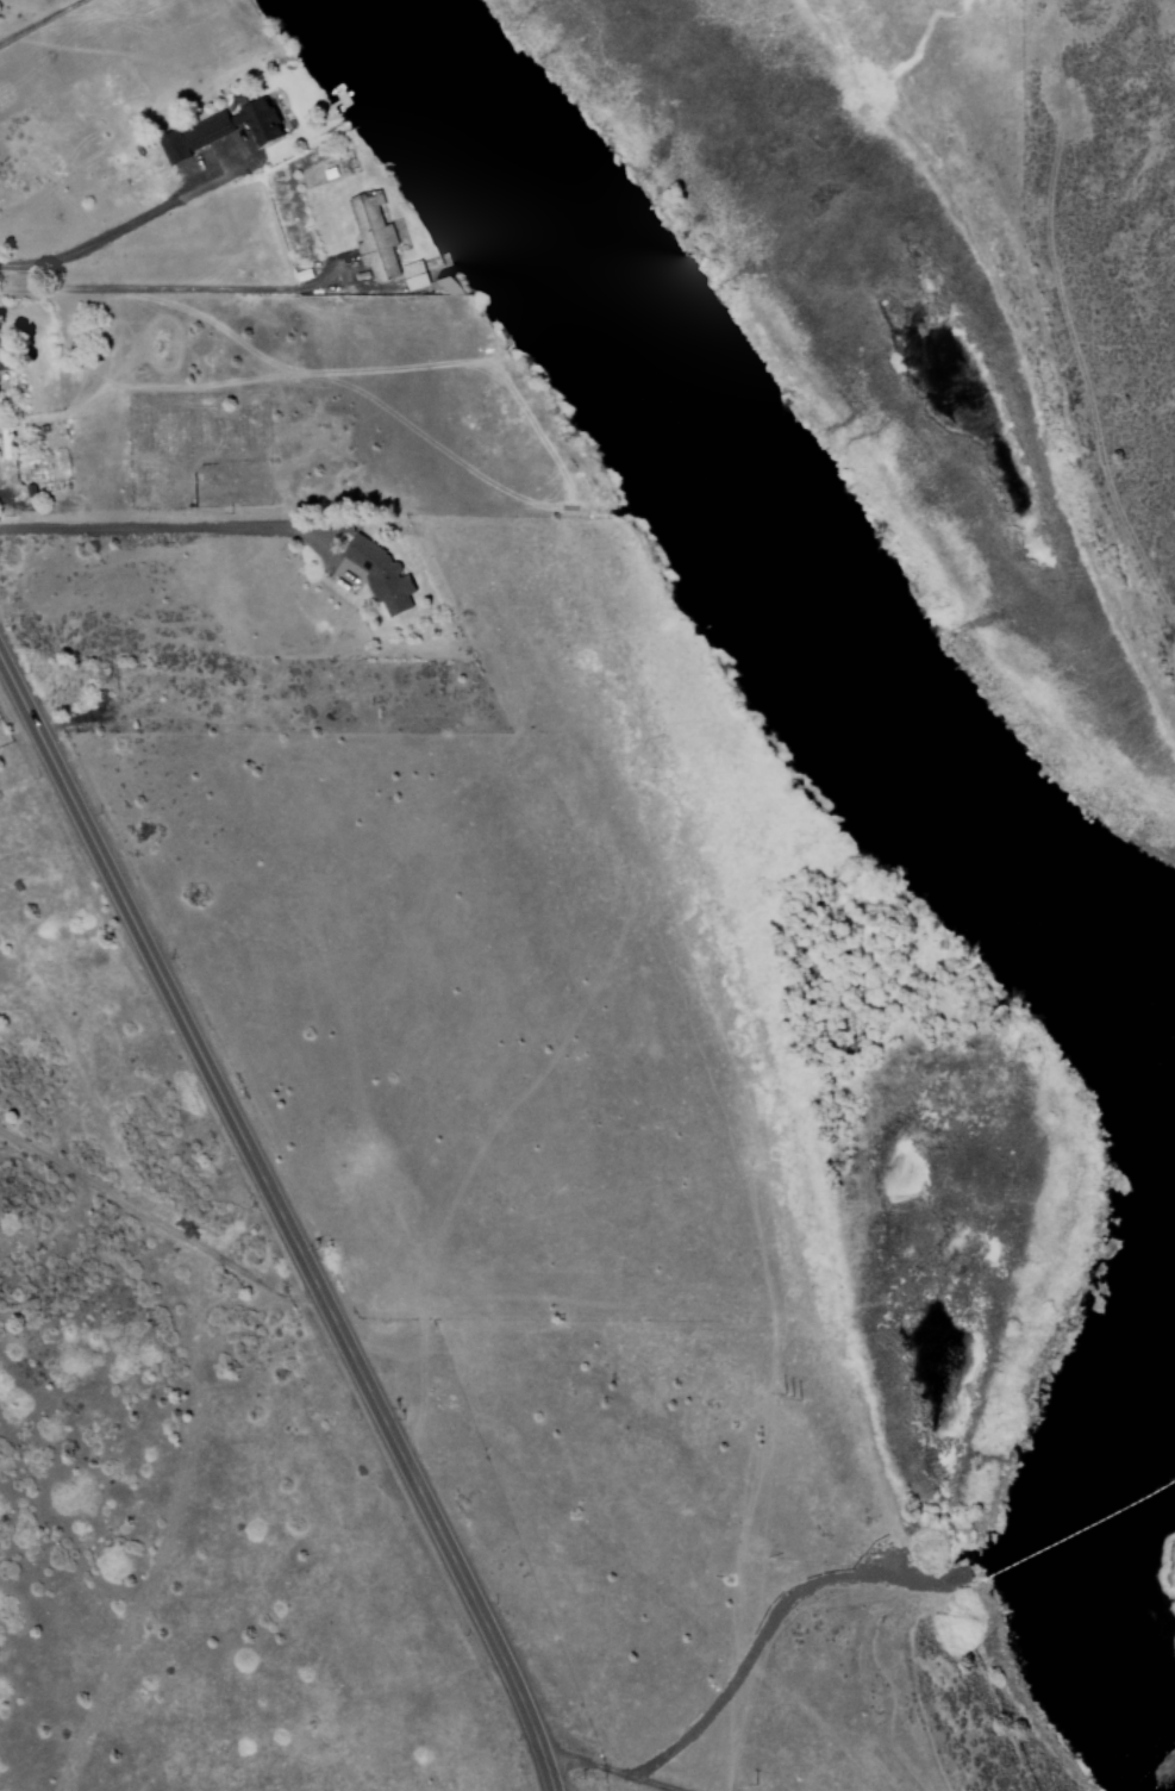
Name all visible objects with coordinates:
river: (421, 69)
building: (255, 121)
building: (193, 136)
building: (371, 236)
building: (412, 275)
building: (4, 361)
building: (379, 576)
river: (815, 639)
road: (282, 1222)
road: (164, 1225)
power tower: (790, 1397)
river: (1151, 1417)
road: (608, 1771)

